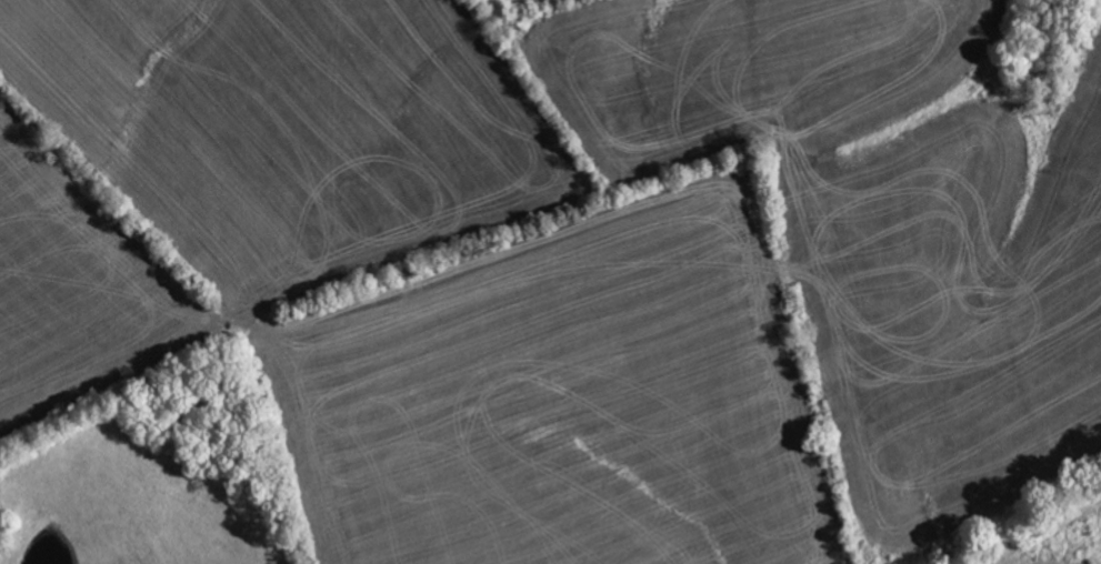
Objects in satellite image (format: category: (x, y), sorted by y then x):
road: (888, 563)

